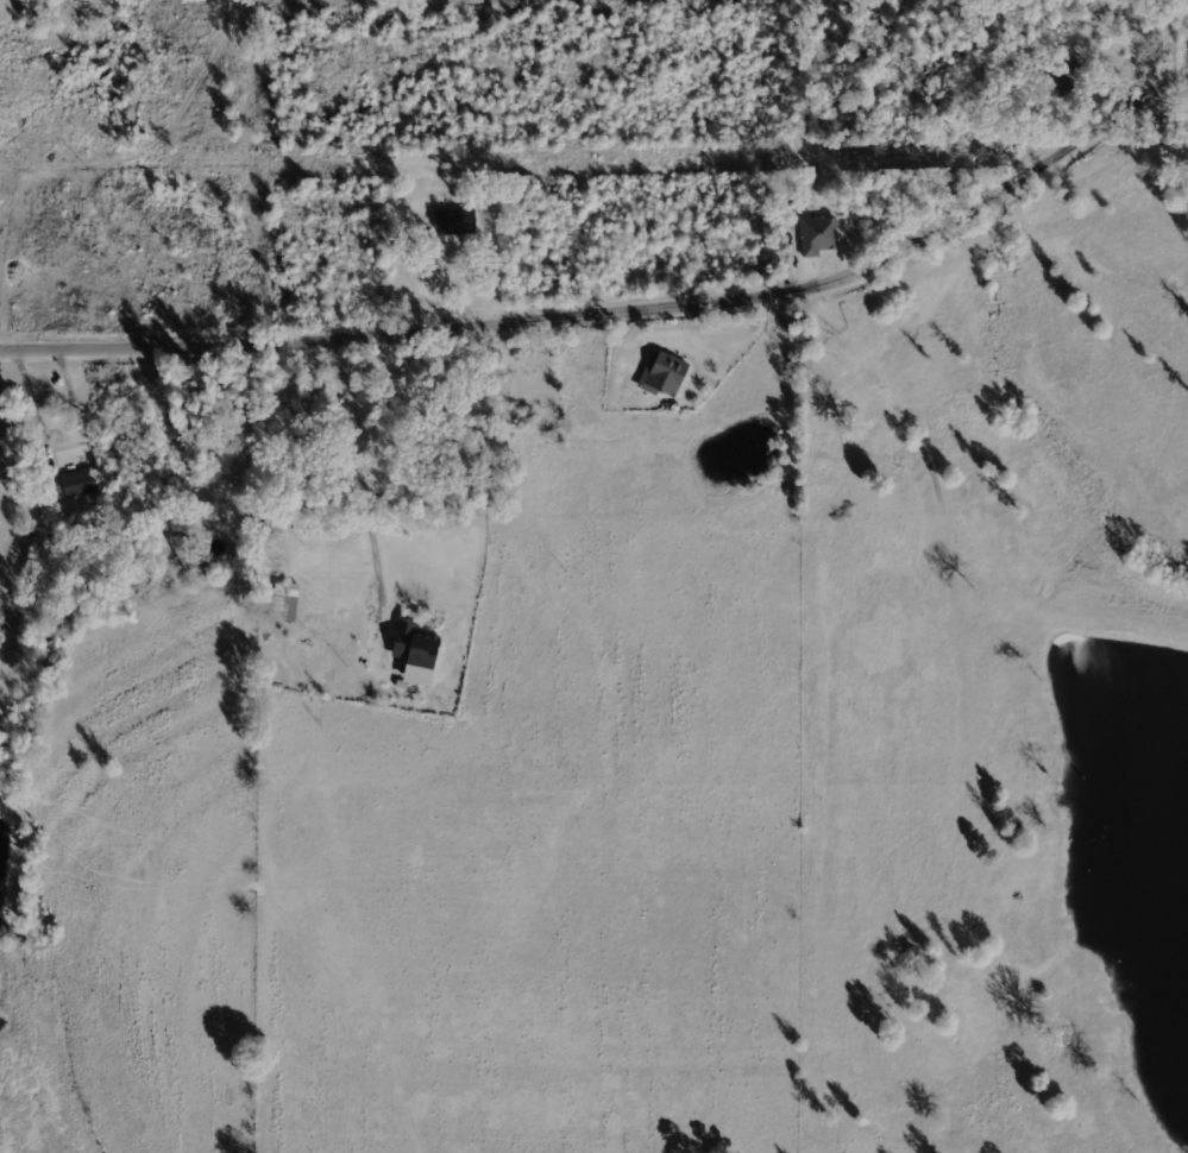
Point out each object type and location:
building: (455, 221)
building: (817, 235)
road: (620, 308)
building: (662, 374)
building: (78, 483)
building: (284, 603)
building: (10, 620)
building: (416, 654)

